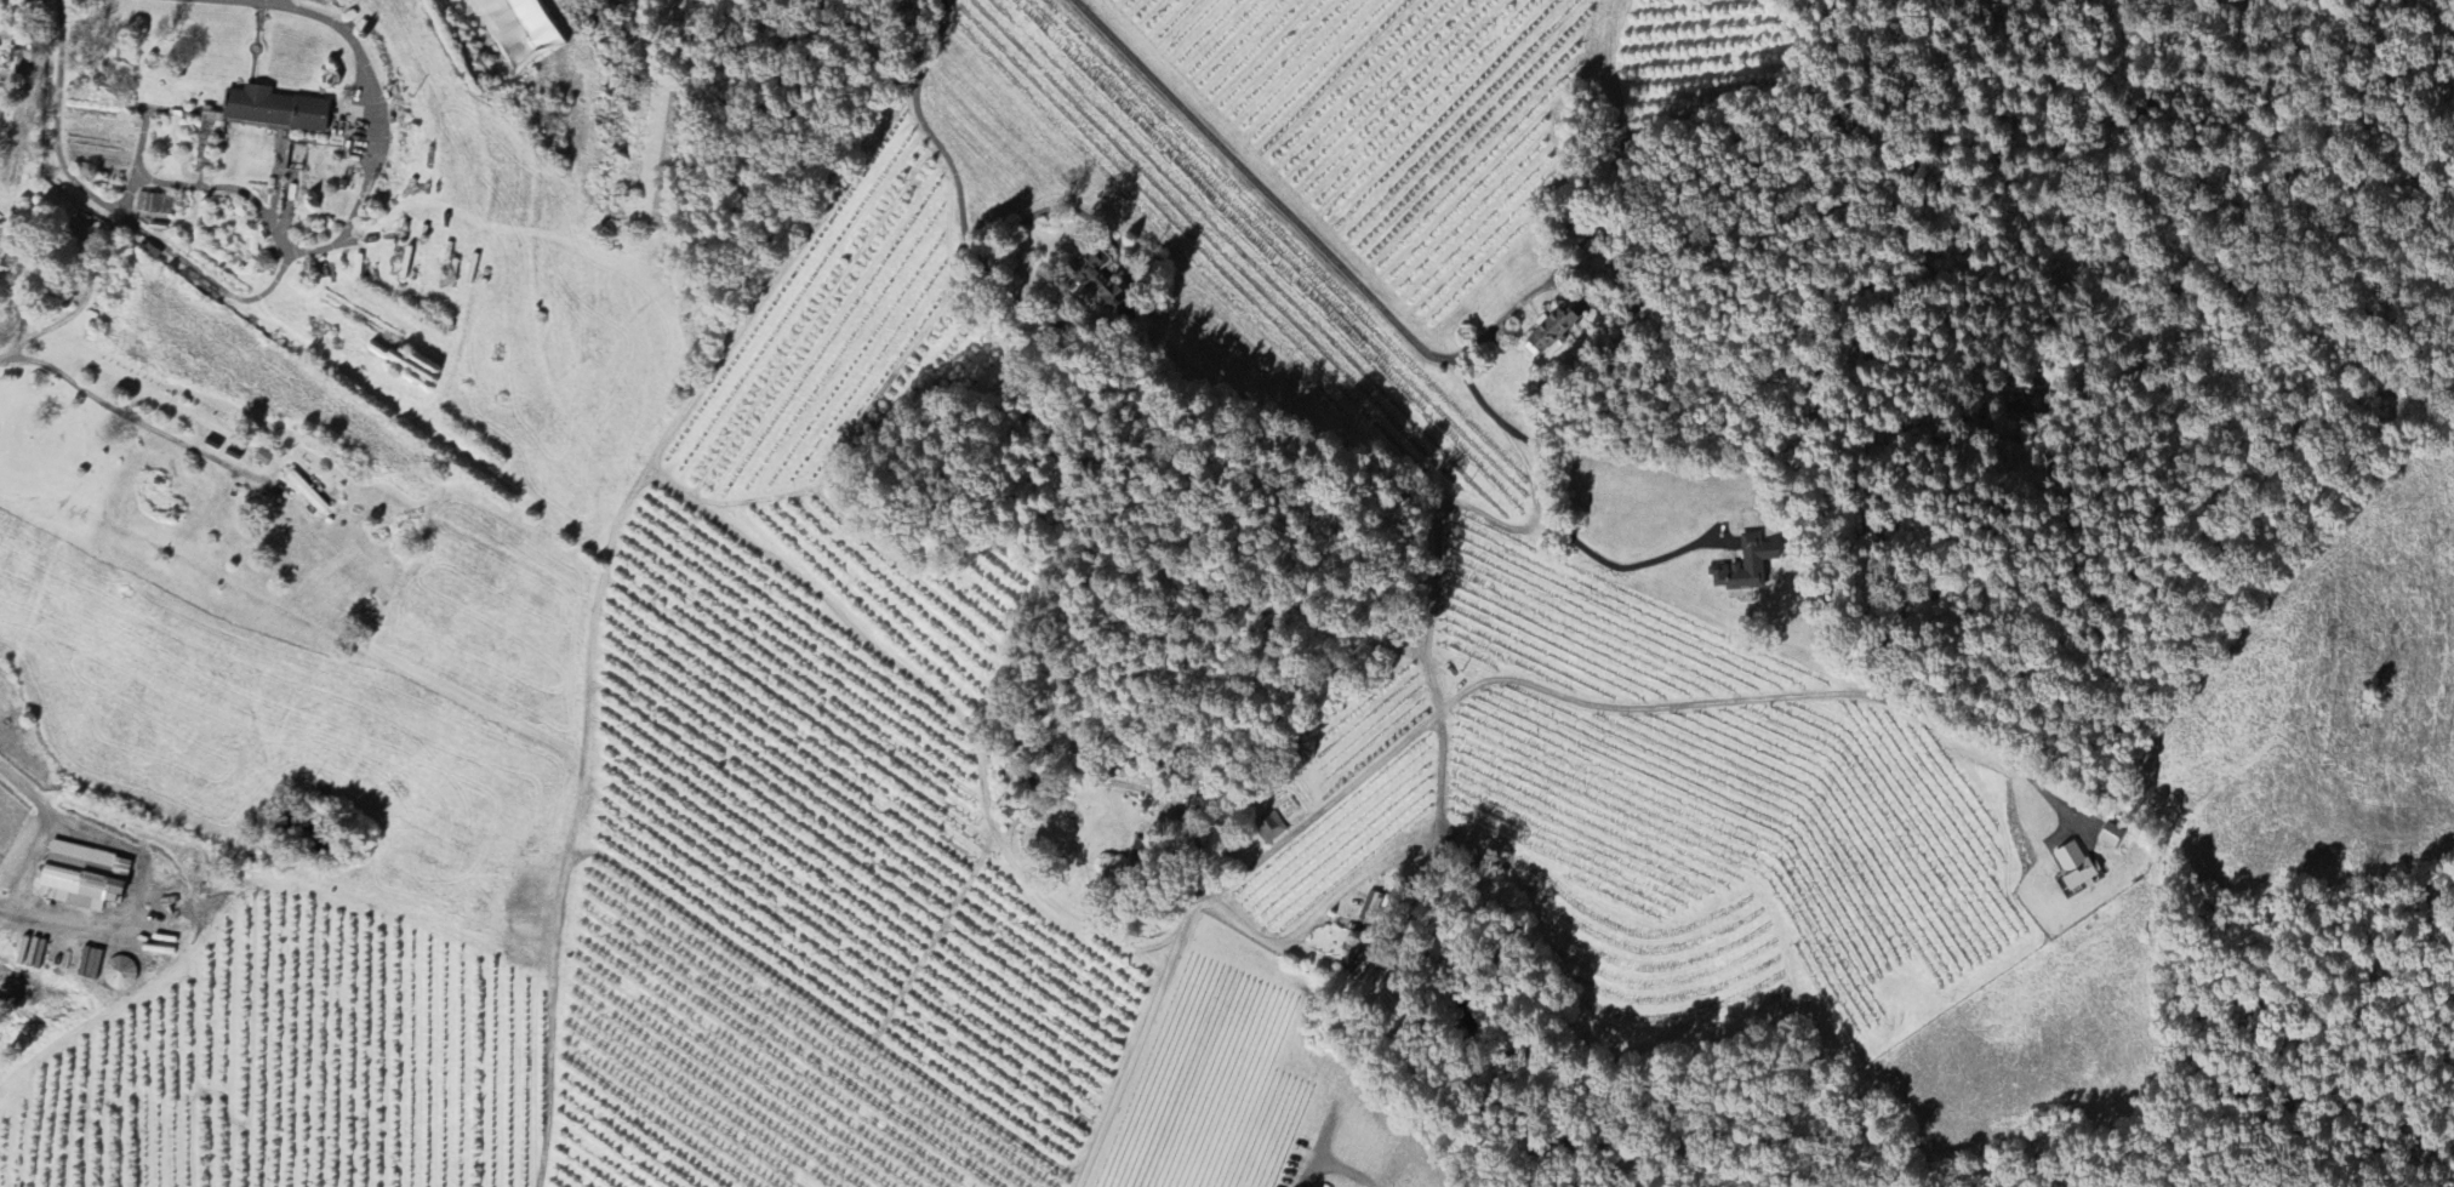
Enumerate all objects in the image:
building: (519, 32)
building: (273, 110)
road: (928, 132)
road: (1262, 139)
building: (655, 158)
building: (153, 205)
building: (79, 229)
road: (283, 267)
road: (86, 270)
road: (780, 273)
building: (1098, 280)
road: (1132, 290)
road: (1387, 316)
road: (1502, 321)
building: (1548, 333)
road: (129, 417)
building: (307, 493)
road: (1433, 548)
road: (610, 549)
building: (1746, 567)
road: (1469, 692)
road: (28, 791)
road: (1026, 806)
building: (1269, 828)
building: (2112, 838)
building: (2075, 868)
road: (1368, 874)
building: (78, 877)
road: (1153, 963)
building: (119, 975)
road: (826, 1009)
road: (1334, 1170)

